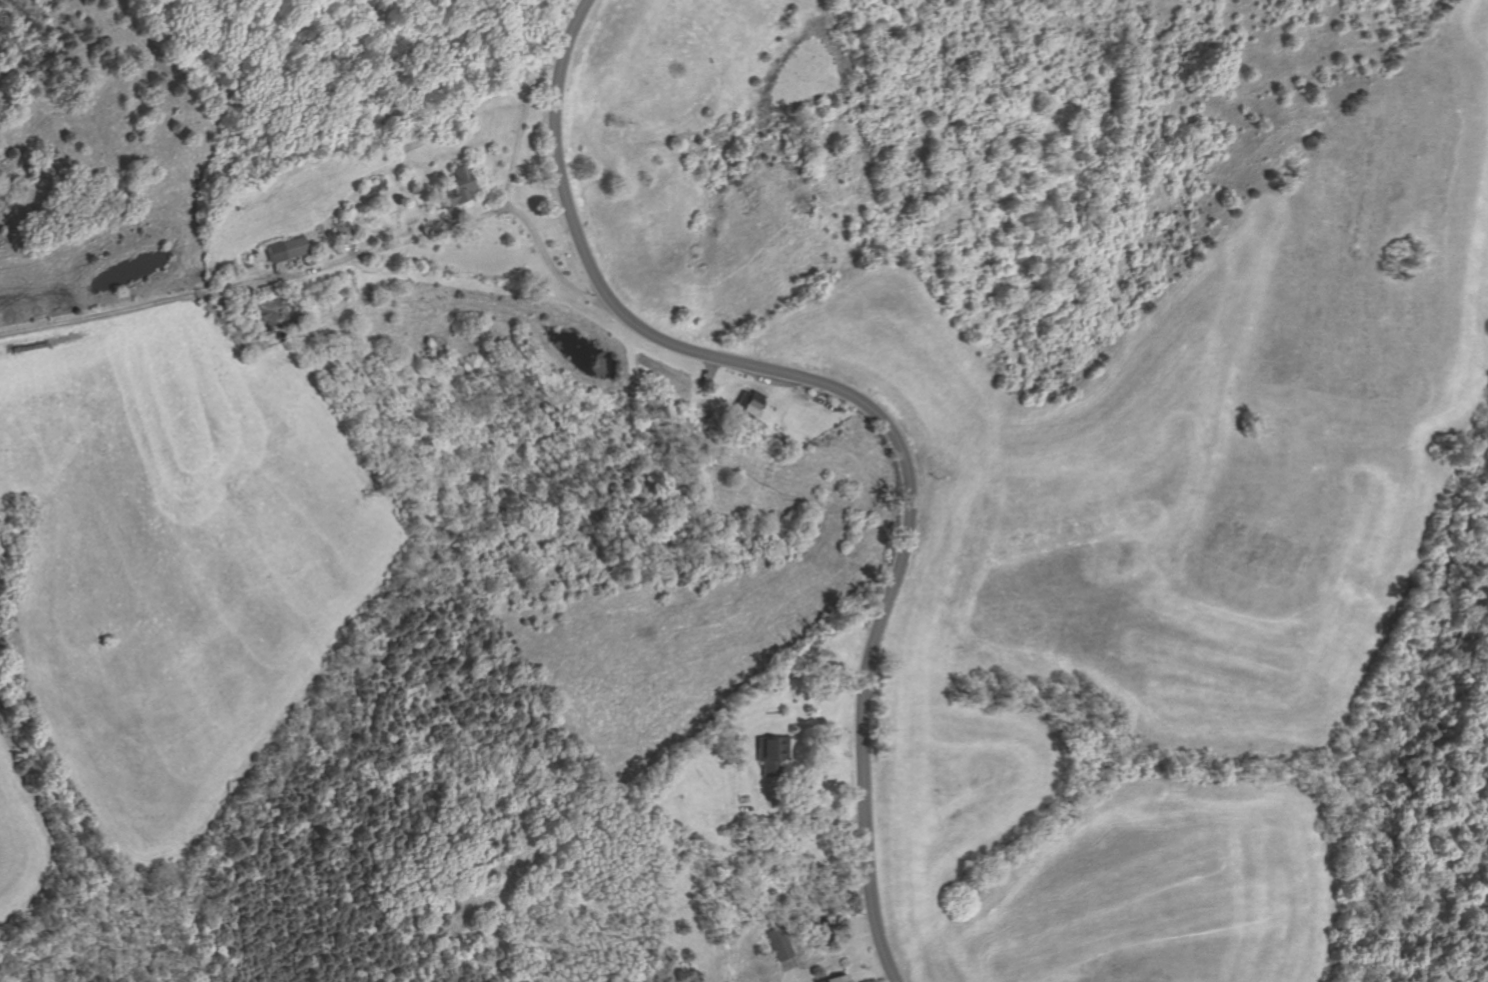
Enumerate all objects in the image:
building: (457, 186)
road: (504, 196)
building: (343, 229)
road: (396, 243)
building: (287, 249)
road: (142, 306)
building: (276, 310)
road: (712, 371)
building: (752, 401)
road: (867, 405)
building: (772, 753)
road: (805, 816)
building: (786, 943)
building: (843, 979)

